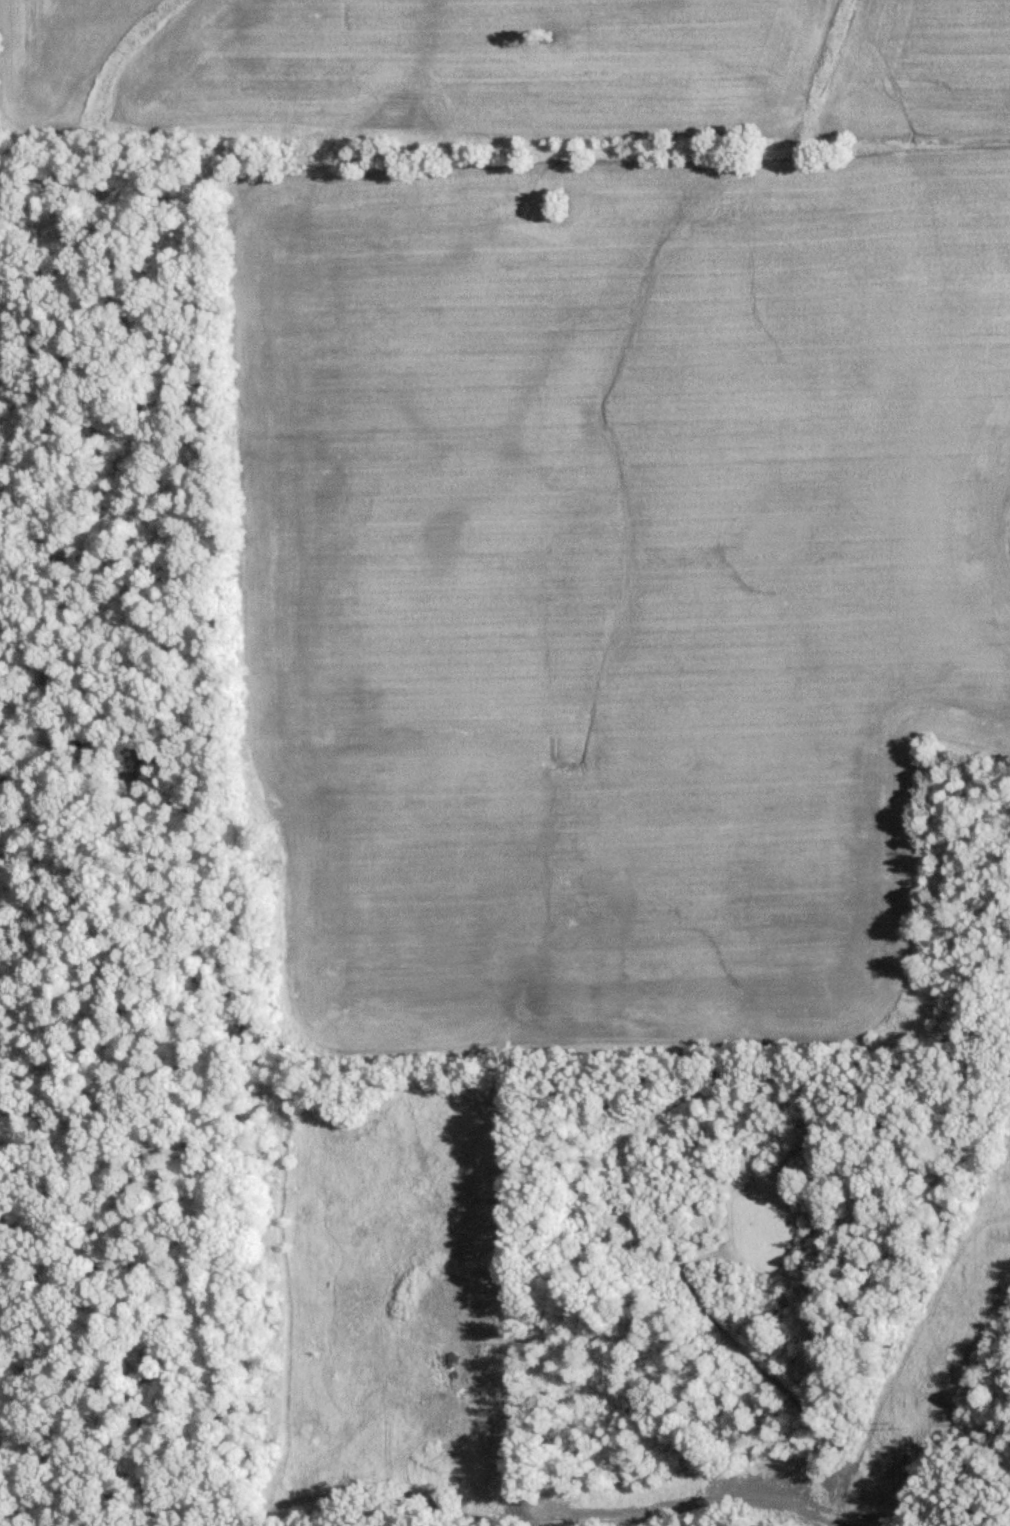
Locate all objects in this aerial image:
power tower: (902, 1415)

